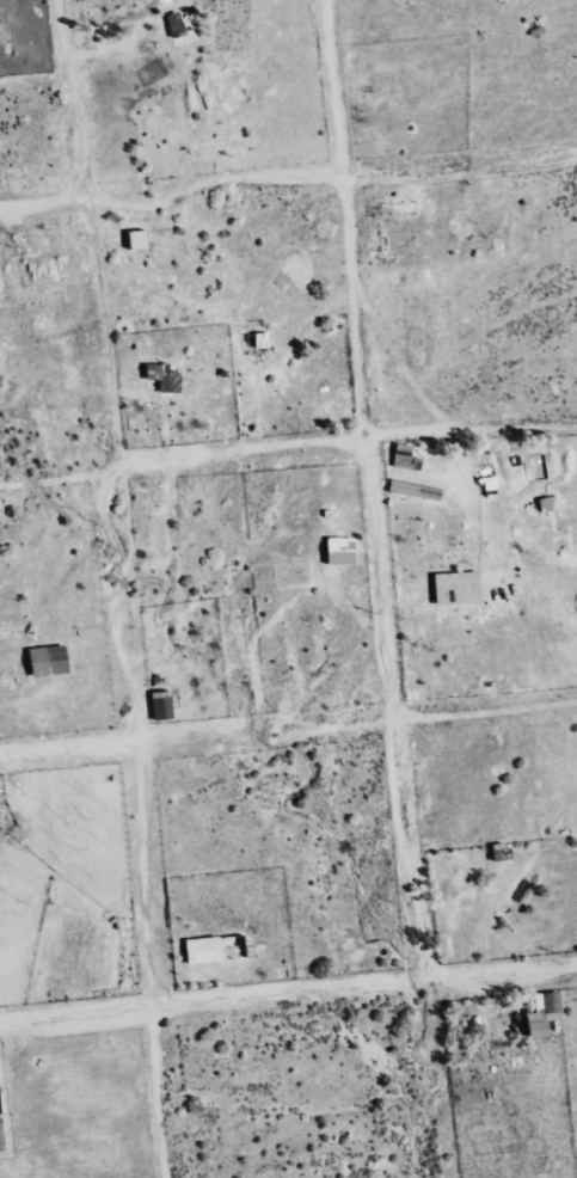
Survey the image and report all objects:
building: (172, 25)
road: (459, 167)
road: (171, 198)
road: (93, 233)
building: (133, 239)
road: (346, 436)
road: (59, 479)
road: (364, 489)
road: (288, 731)
road: (140, 822)

